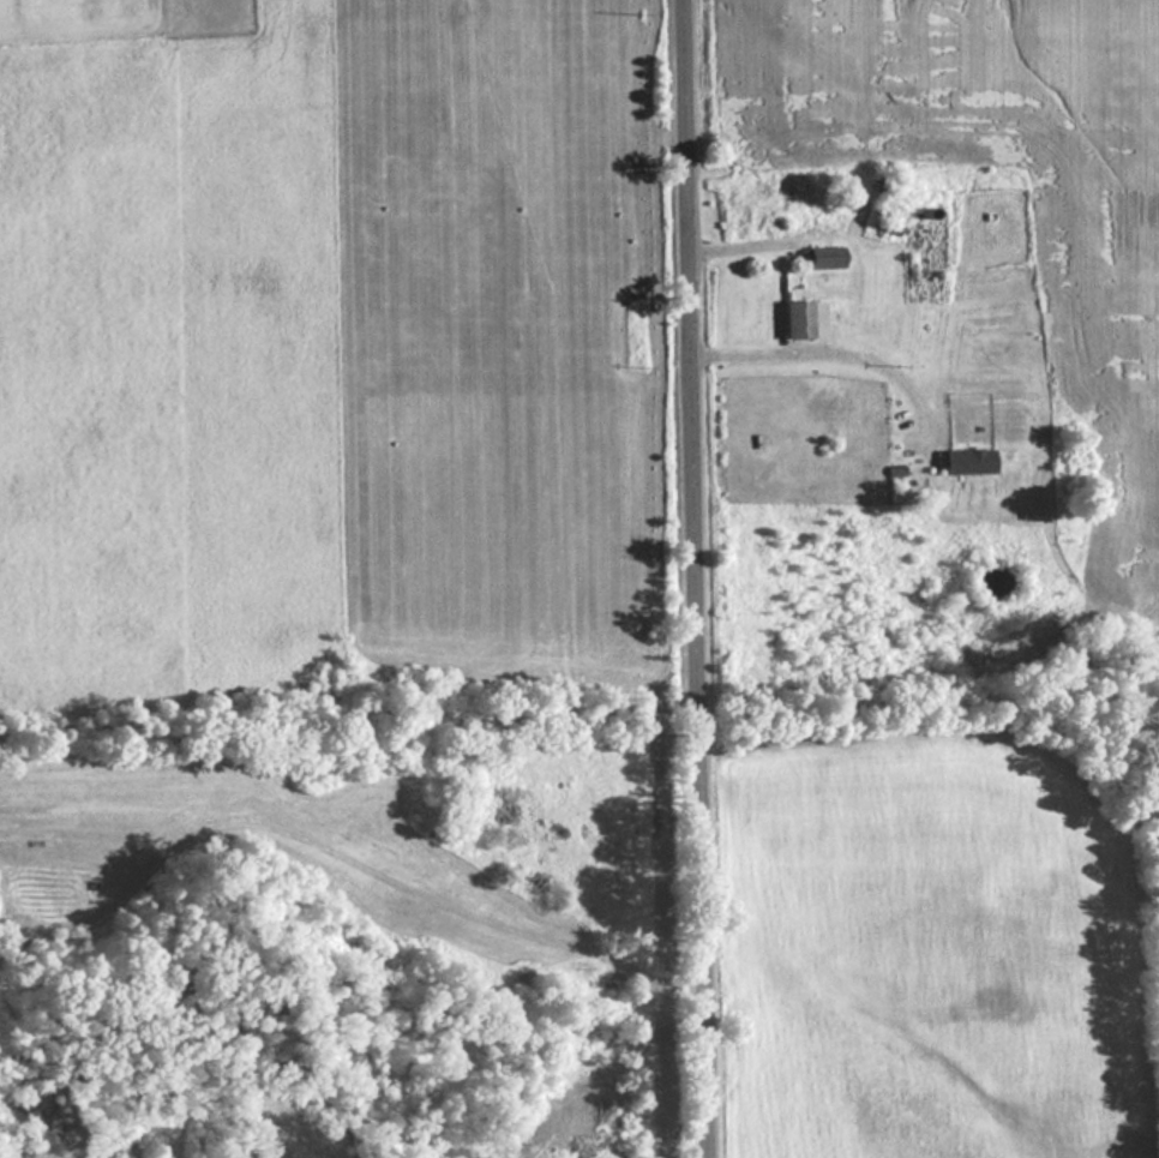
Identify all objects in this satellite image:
building: (749, 212)
building: (890, 224)
building: (804, 319)
building: (968, 461)
road: (702, 578)

